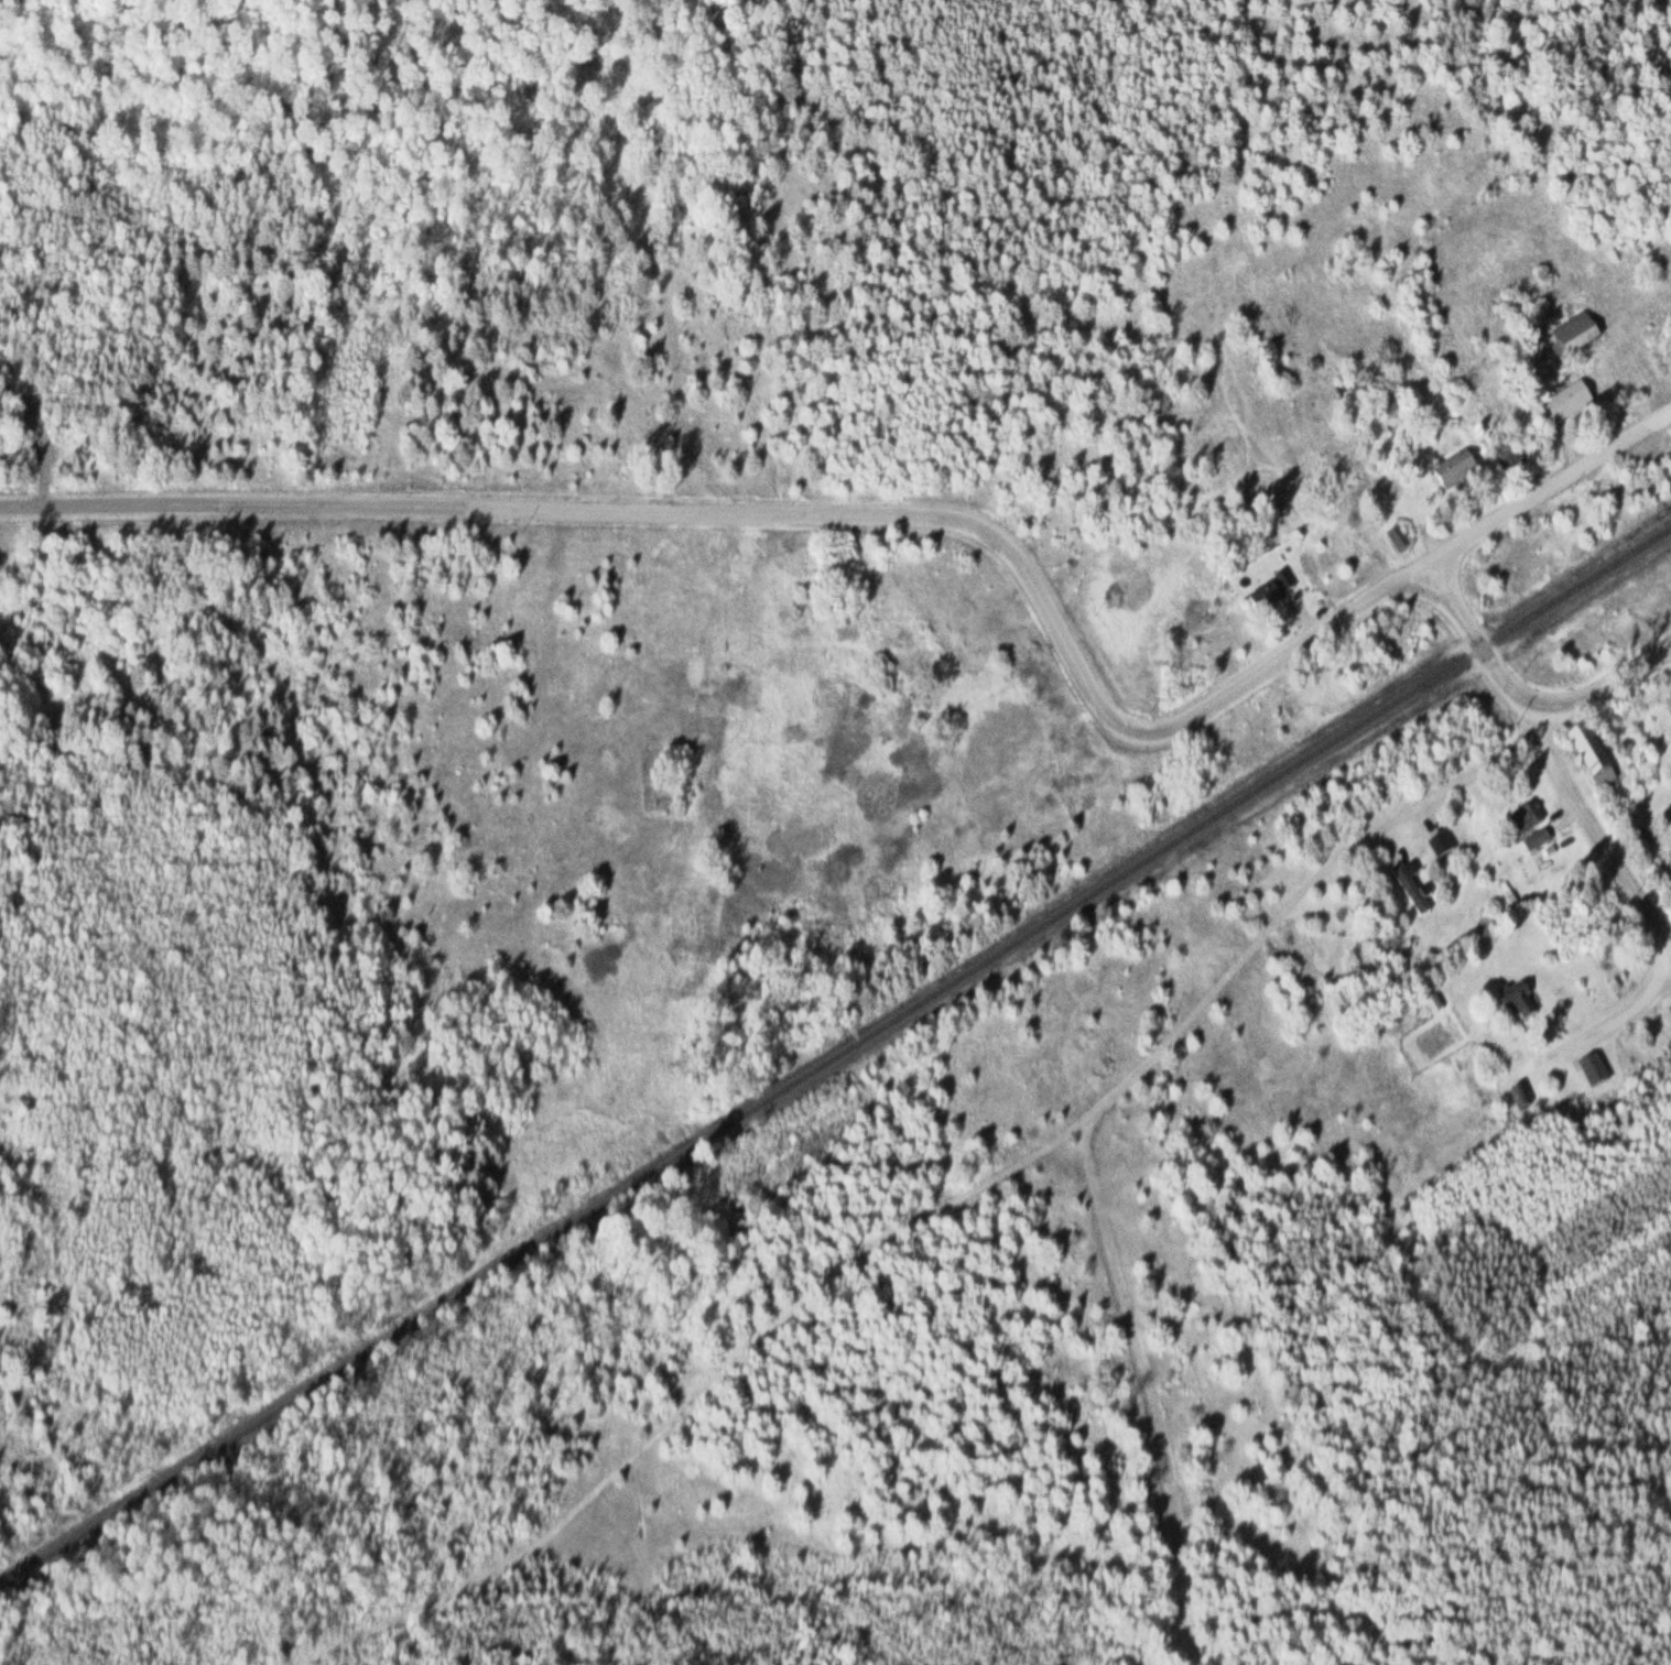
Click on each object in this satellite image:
building: (1575, 338)
building: (1567, 406)
building: (1412, 469)
building: (1457, 474)
building: (1119, 486)
road: (1547, 487)
road: (958, 523)
building: (1399, 543)
building: (1273, 598)
building: (1594, 757)
building: (1531, 828)
building: (1441, 849)
road: (1627, 884)
building: (1411, 894)
building: (1520, 1005)
railway: (835, 1058)
building: (1550, 1077)
building: (1520, 1102)

